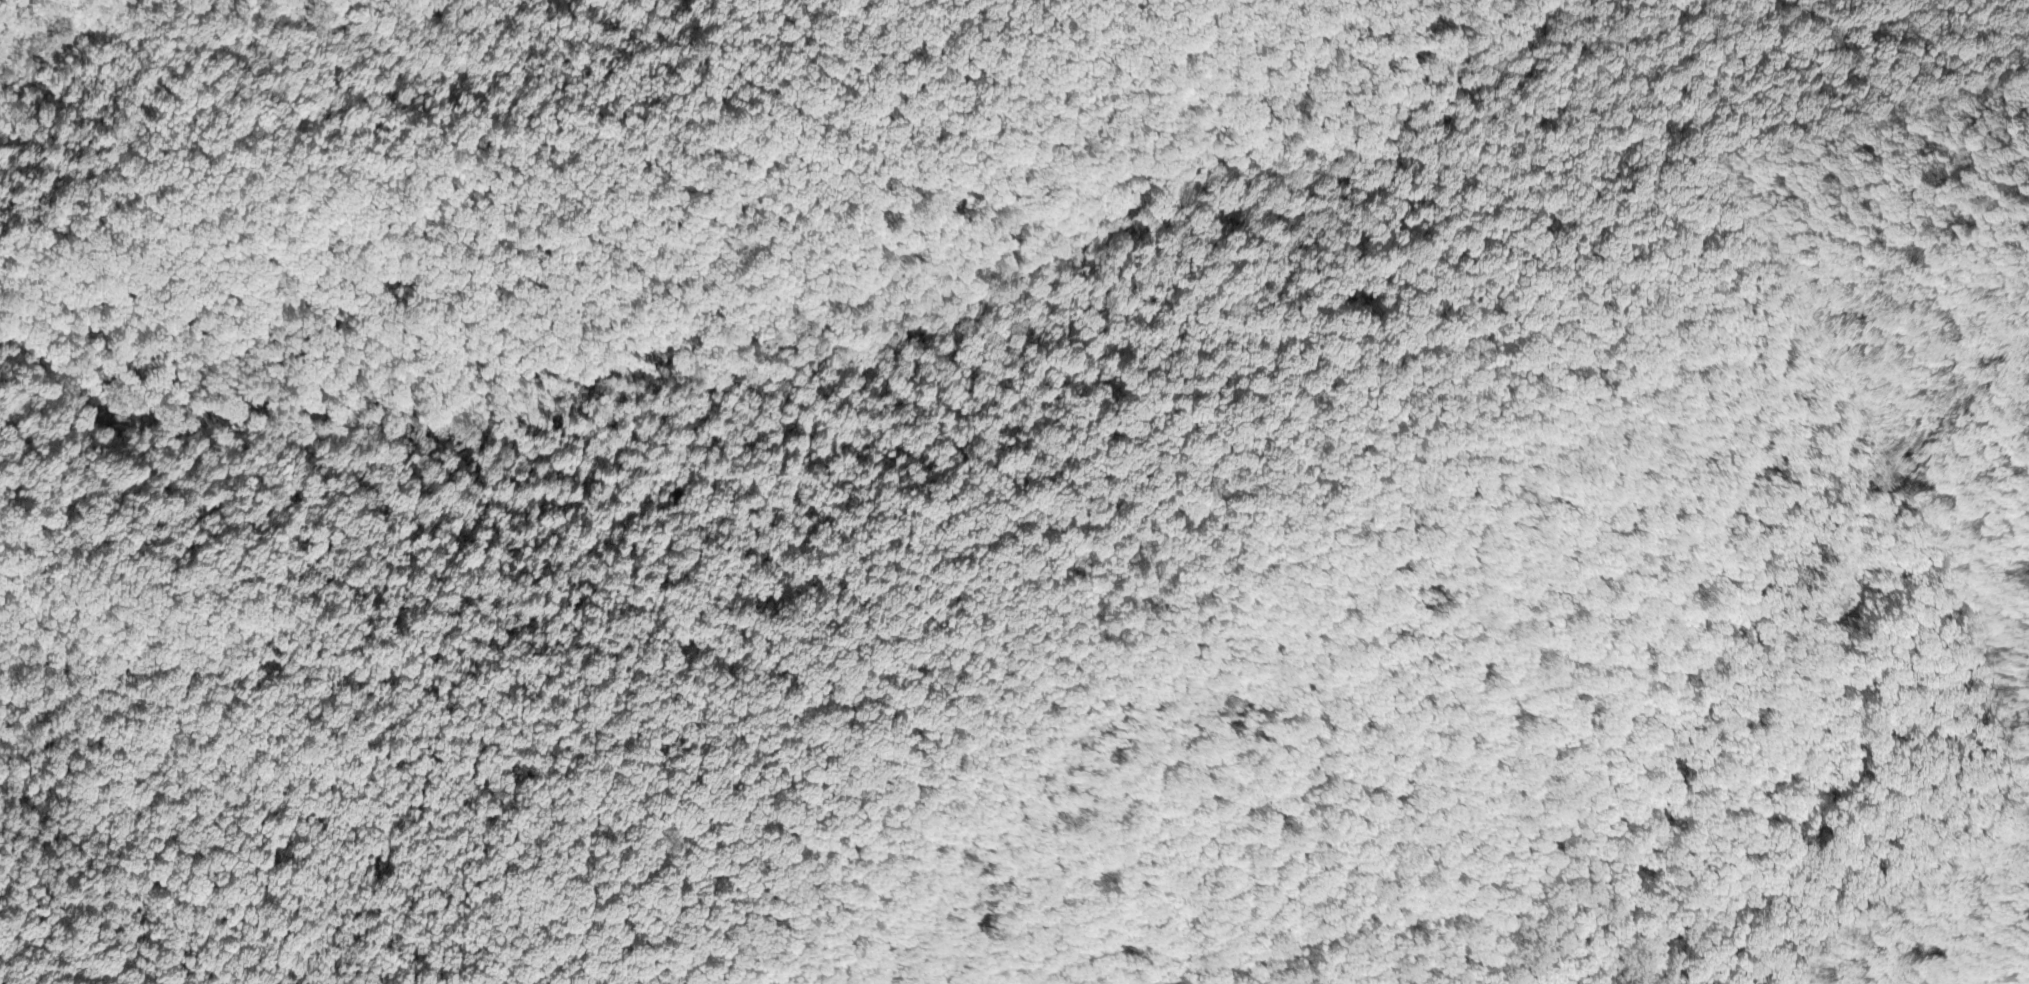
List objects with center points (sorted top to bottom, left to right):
road: (198, 498)

